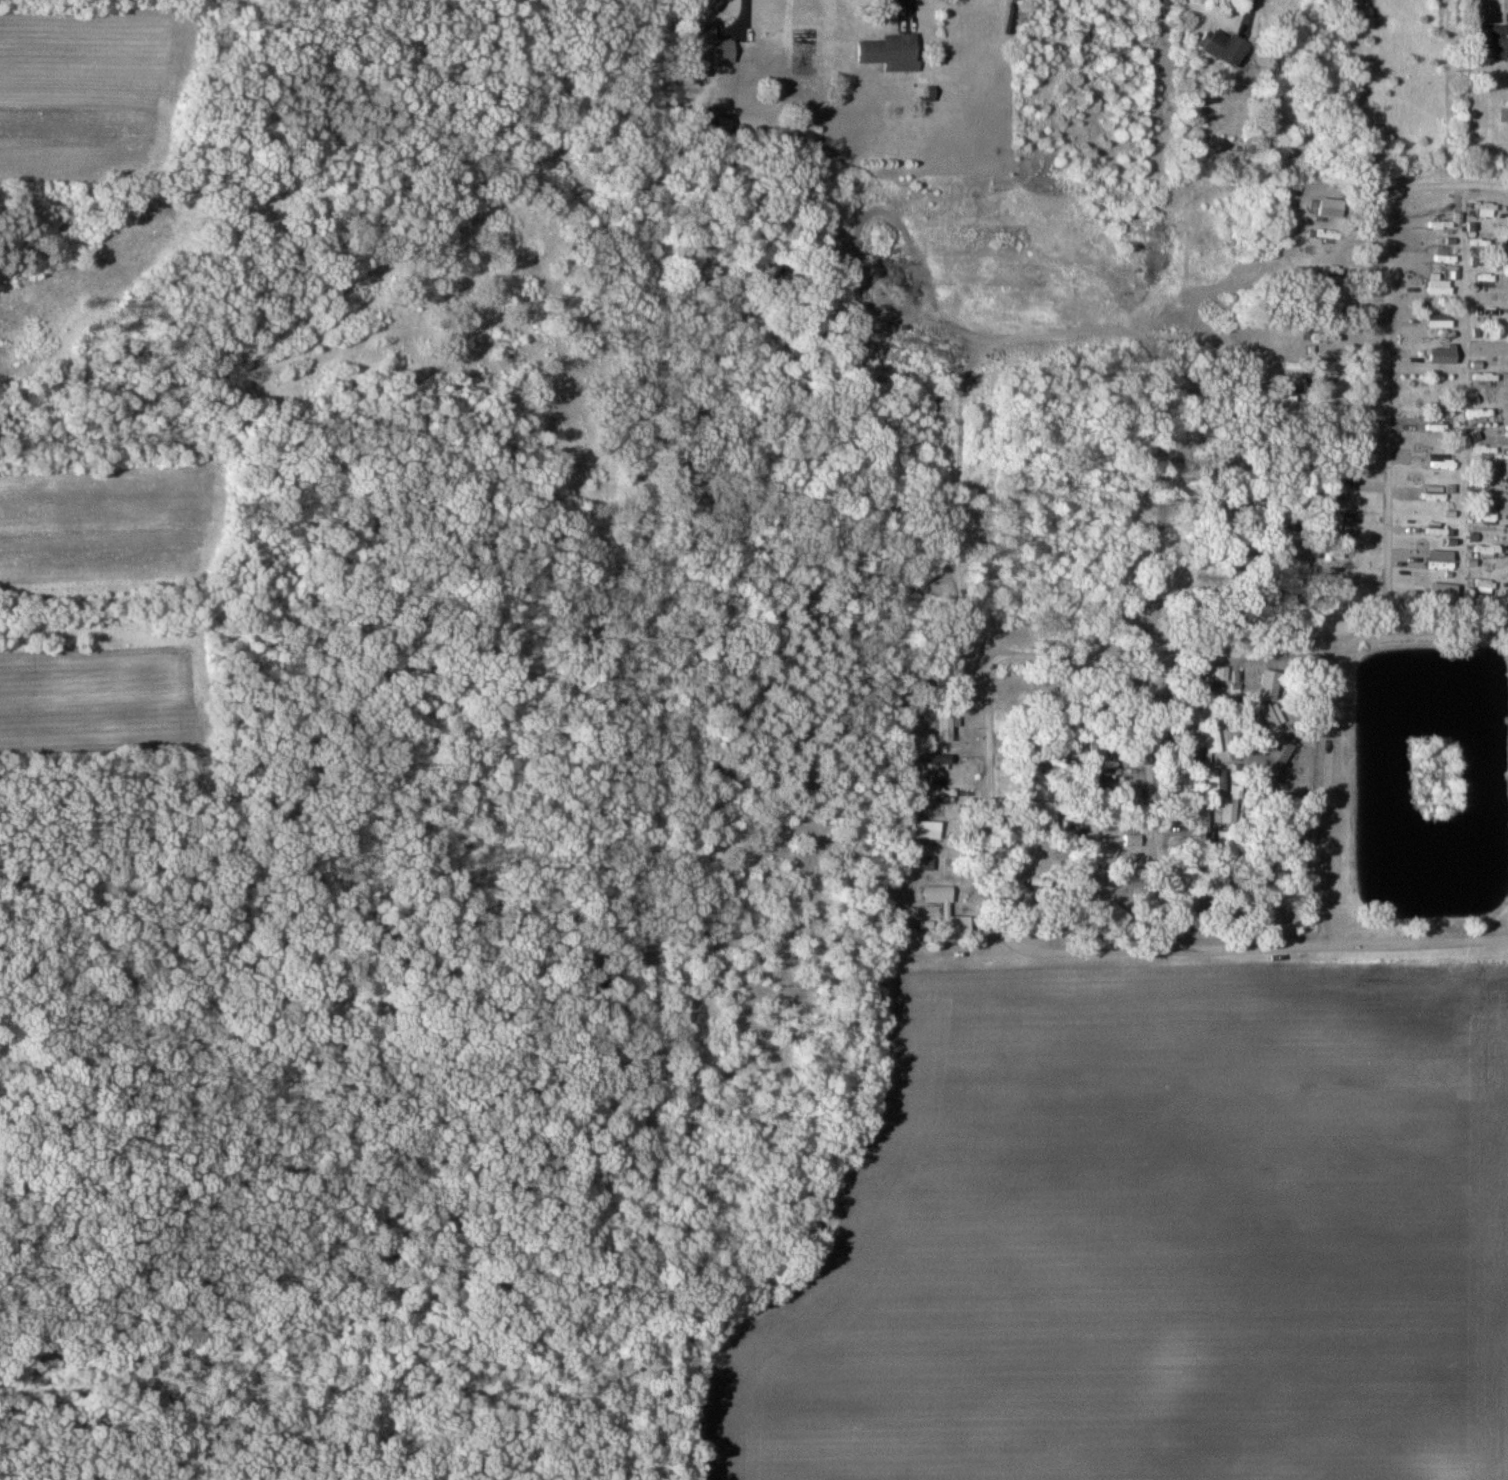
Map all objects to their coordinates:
building: (1489, 40)
building: (711, 45)
building: (1221, 46)
building: (890, 52)
building: (1330, 207)
building: (1477, 208)
building: (1330, 270)
building: (1440, 284)
building: (1438, 319)
building: (1482, 348)
building: (1331, 374)
building: (1505, 379)
building: (1440, 424)
building: (1441, 464)
building: (1483, 518)
building: (1437, 529)
building: (1484, 549)
building: (1439, 558)
building: (1298, 566)
building: (1484, 582)
building: (1214, 678)
building: (944, 728)
building: (1211, 740)
building: (1092, 749)
building: (1279, 751)
building: (934, 759)
building: (1214, 781)
building: (1032, 786)
building: (936, 793)
building: (1043, 817)
building: (1108, 818)
building: (926, 829)
building: (1108, 853)
building: (924, 866)
building: (937, 891)
building: (1114, 913)

